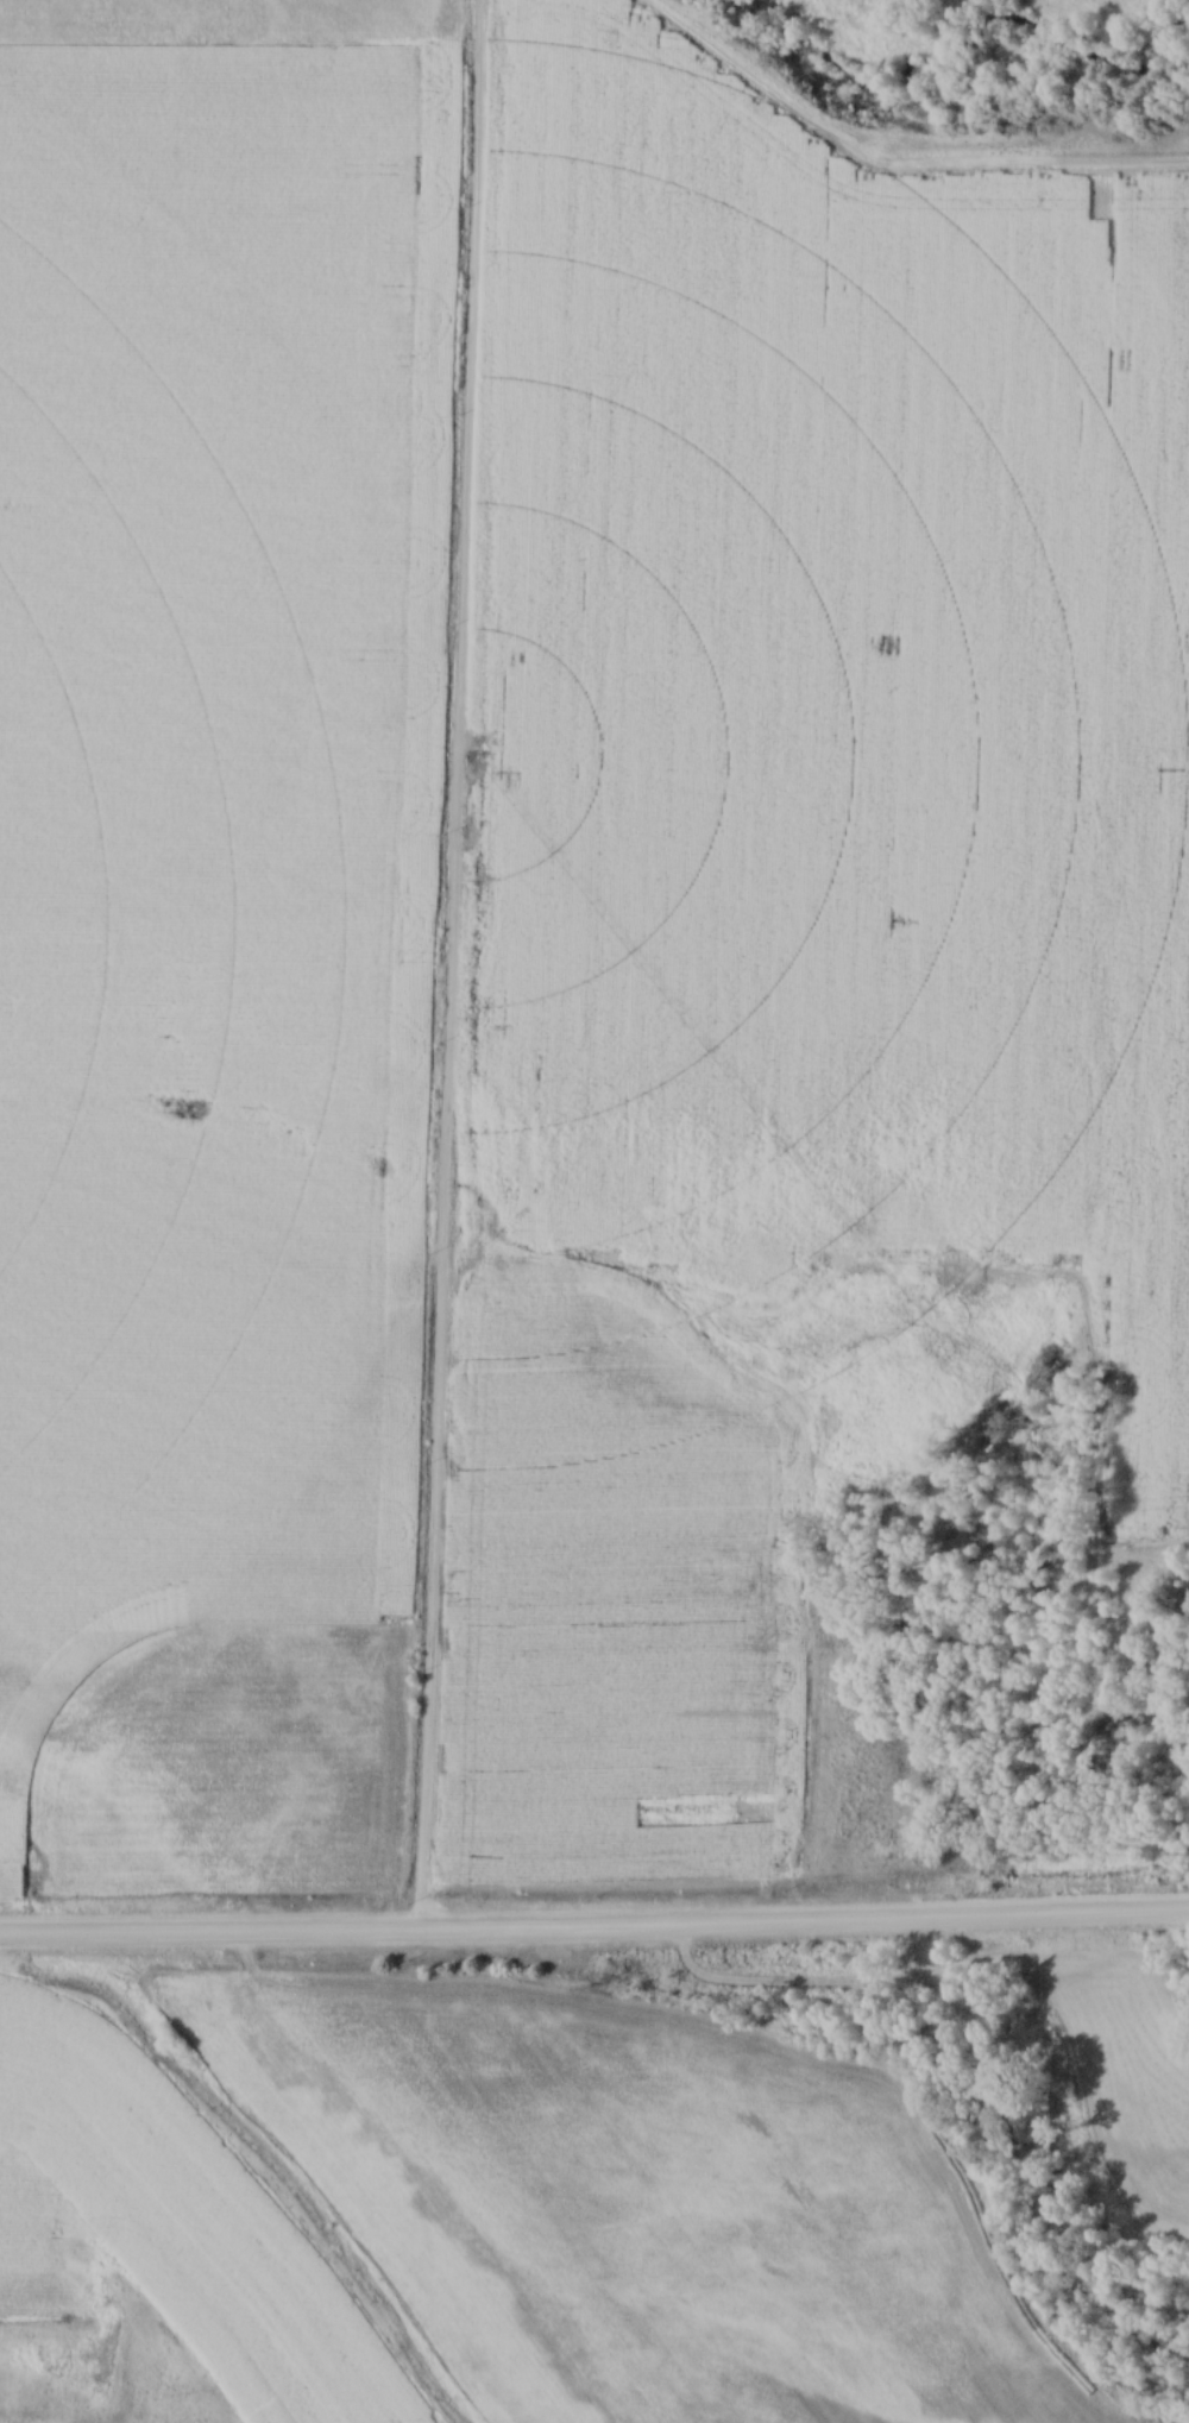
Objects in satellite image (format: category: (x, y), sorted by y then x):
river: (979, 76)
river: (1101, 1713)
river: (1174, 1855)
river: (1184, 1909)
road: (594, 1926)
river: (1188, 1931)

